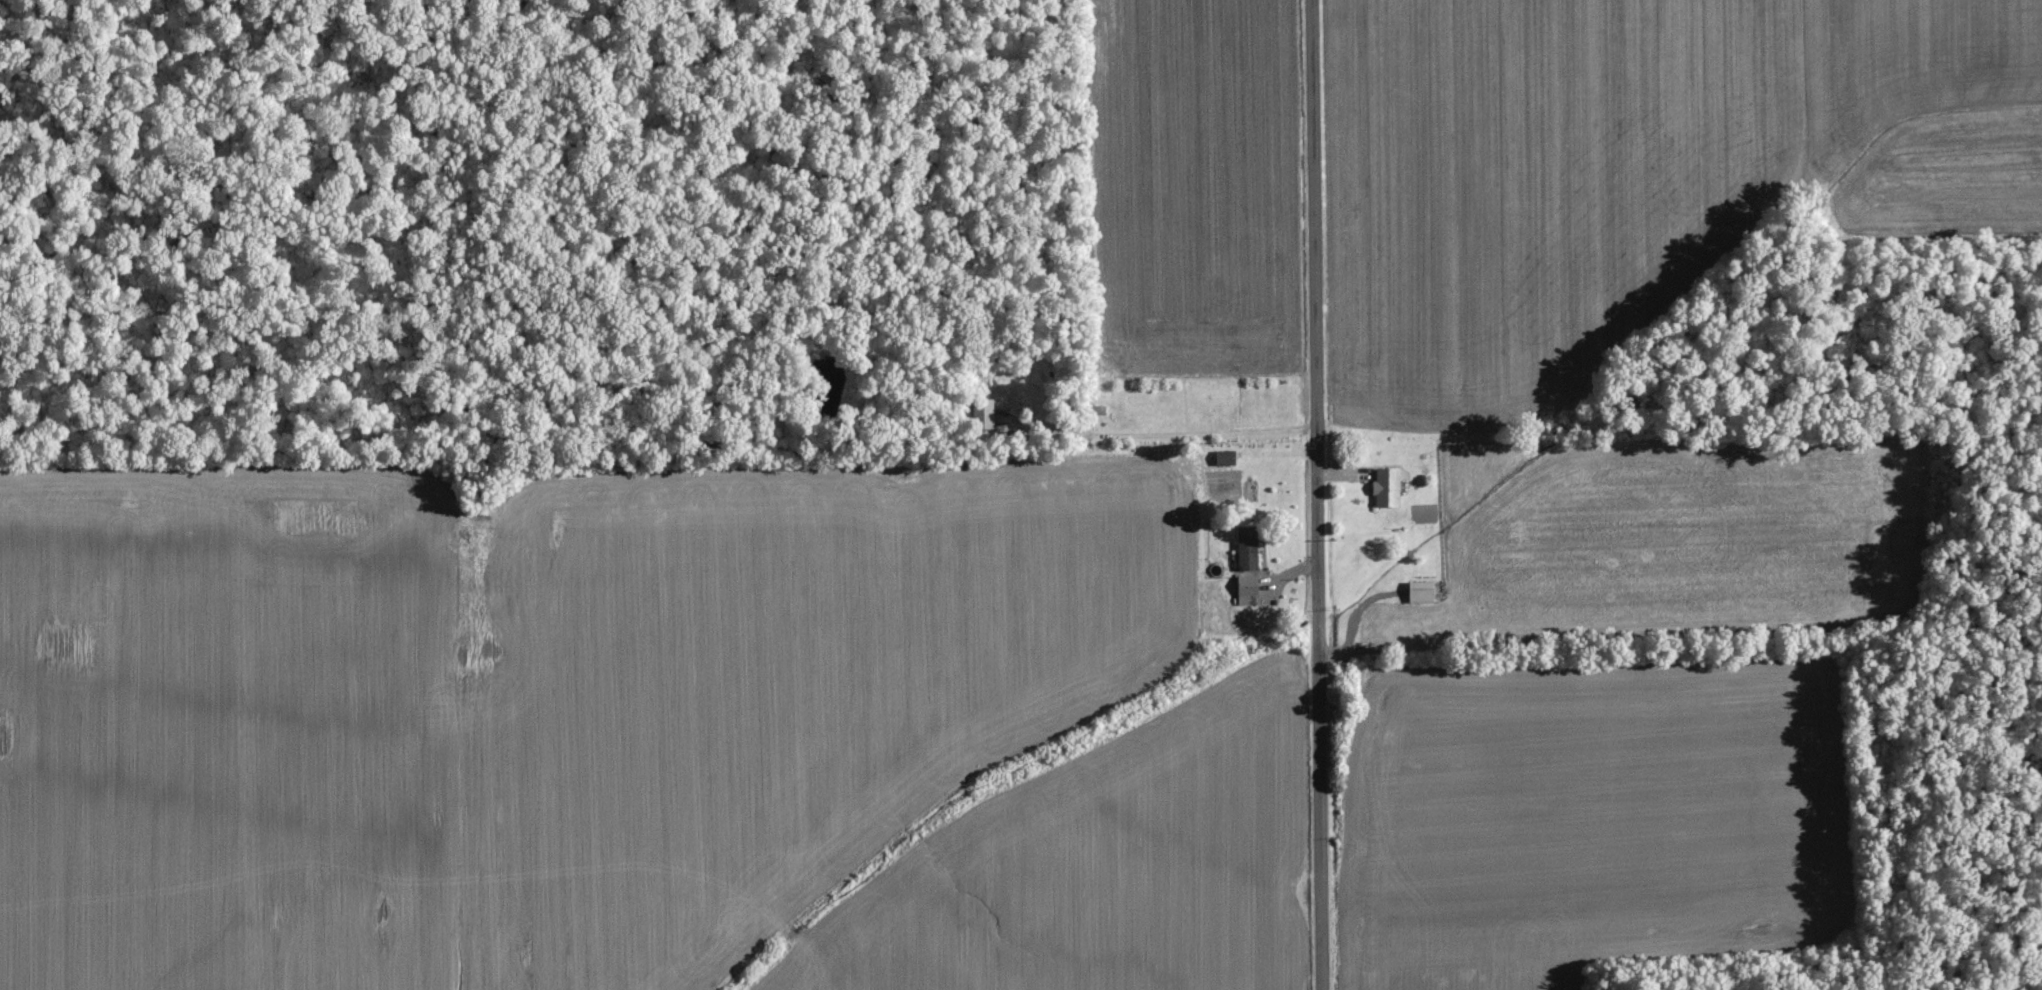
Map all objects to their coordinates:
road: (1169, 431)
building: (1386, 486)
road: (1318, 494)

